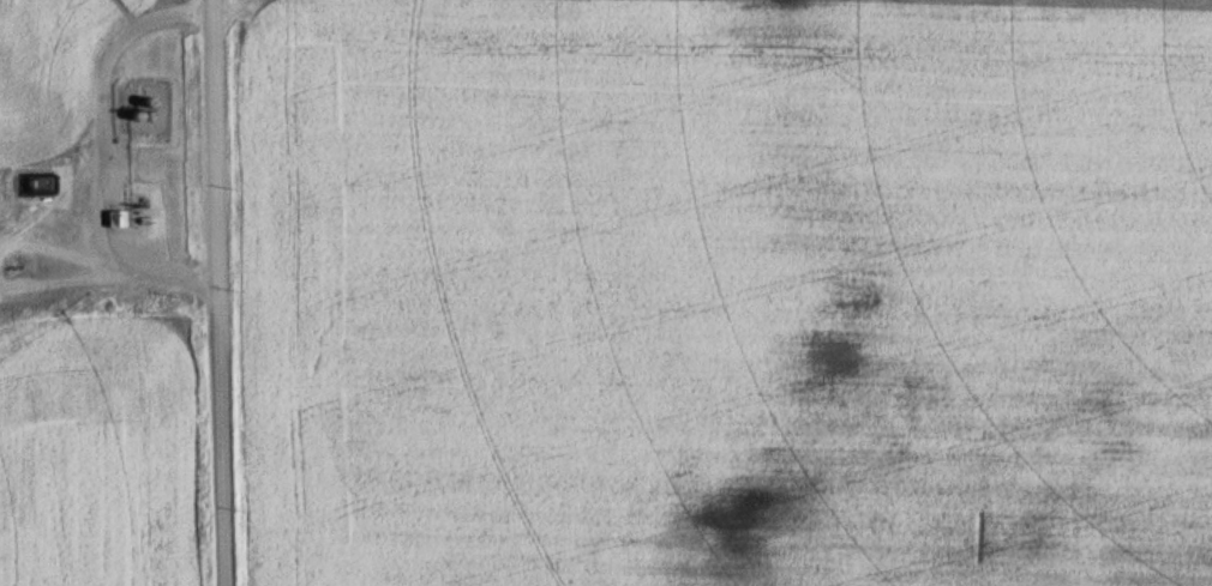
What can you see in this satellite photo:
building: (42, 185)
building: (118, 218)
road: (226, 292)

